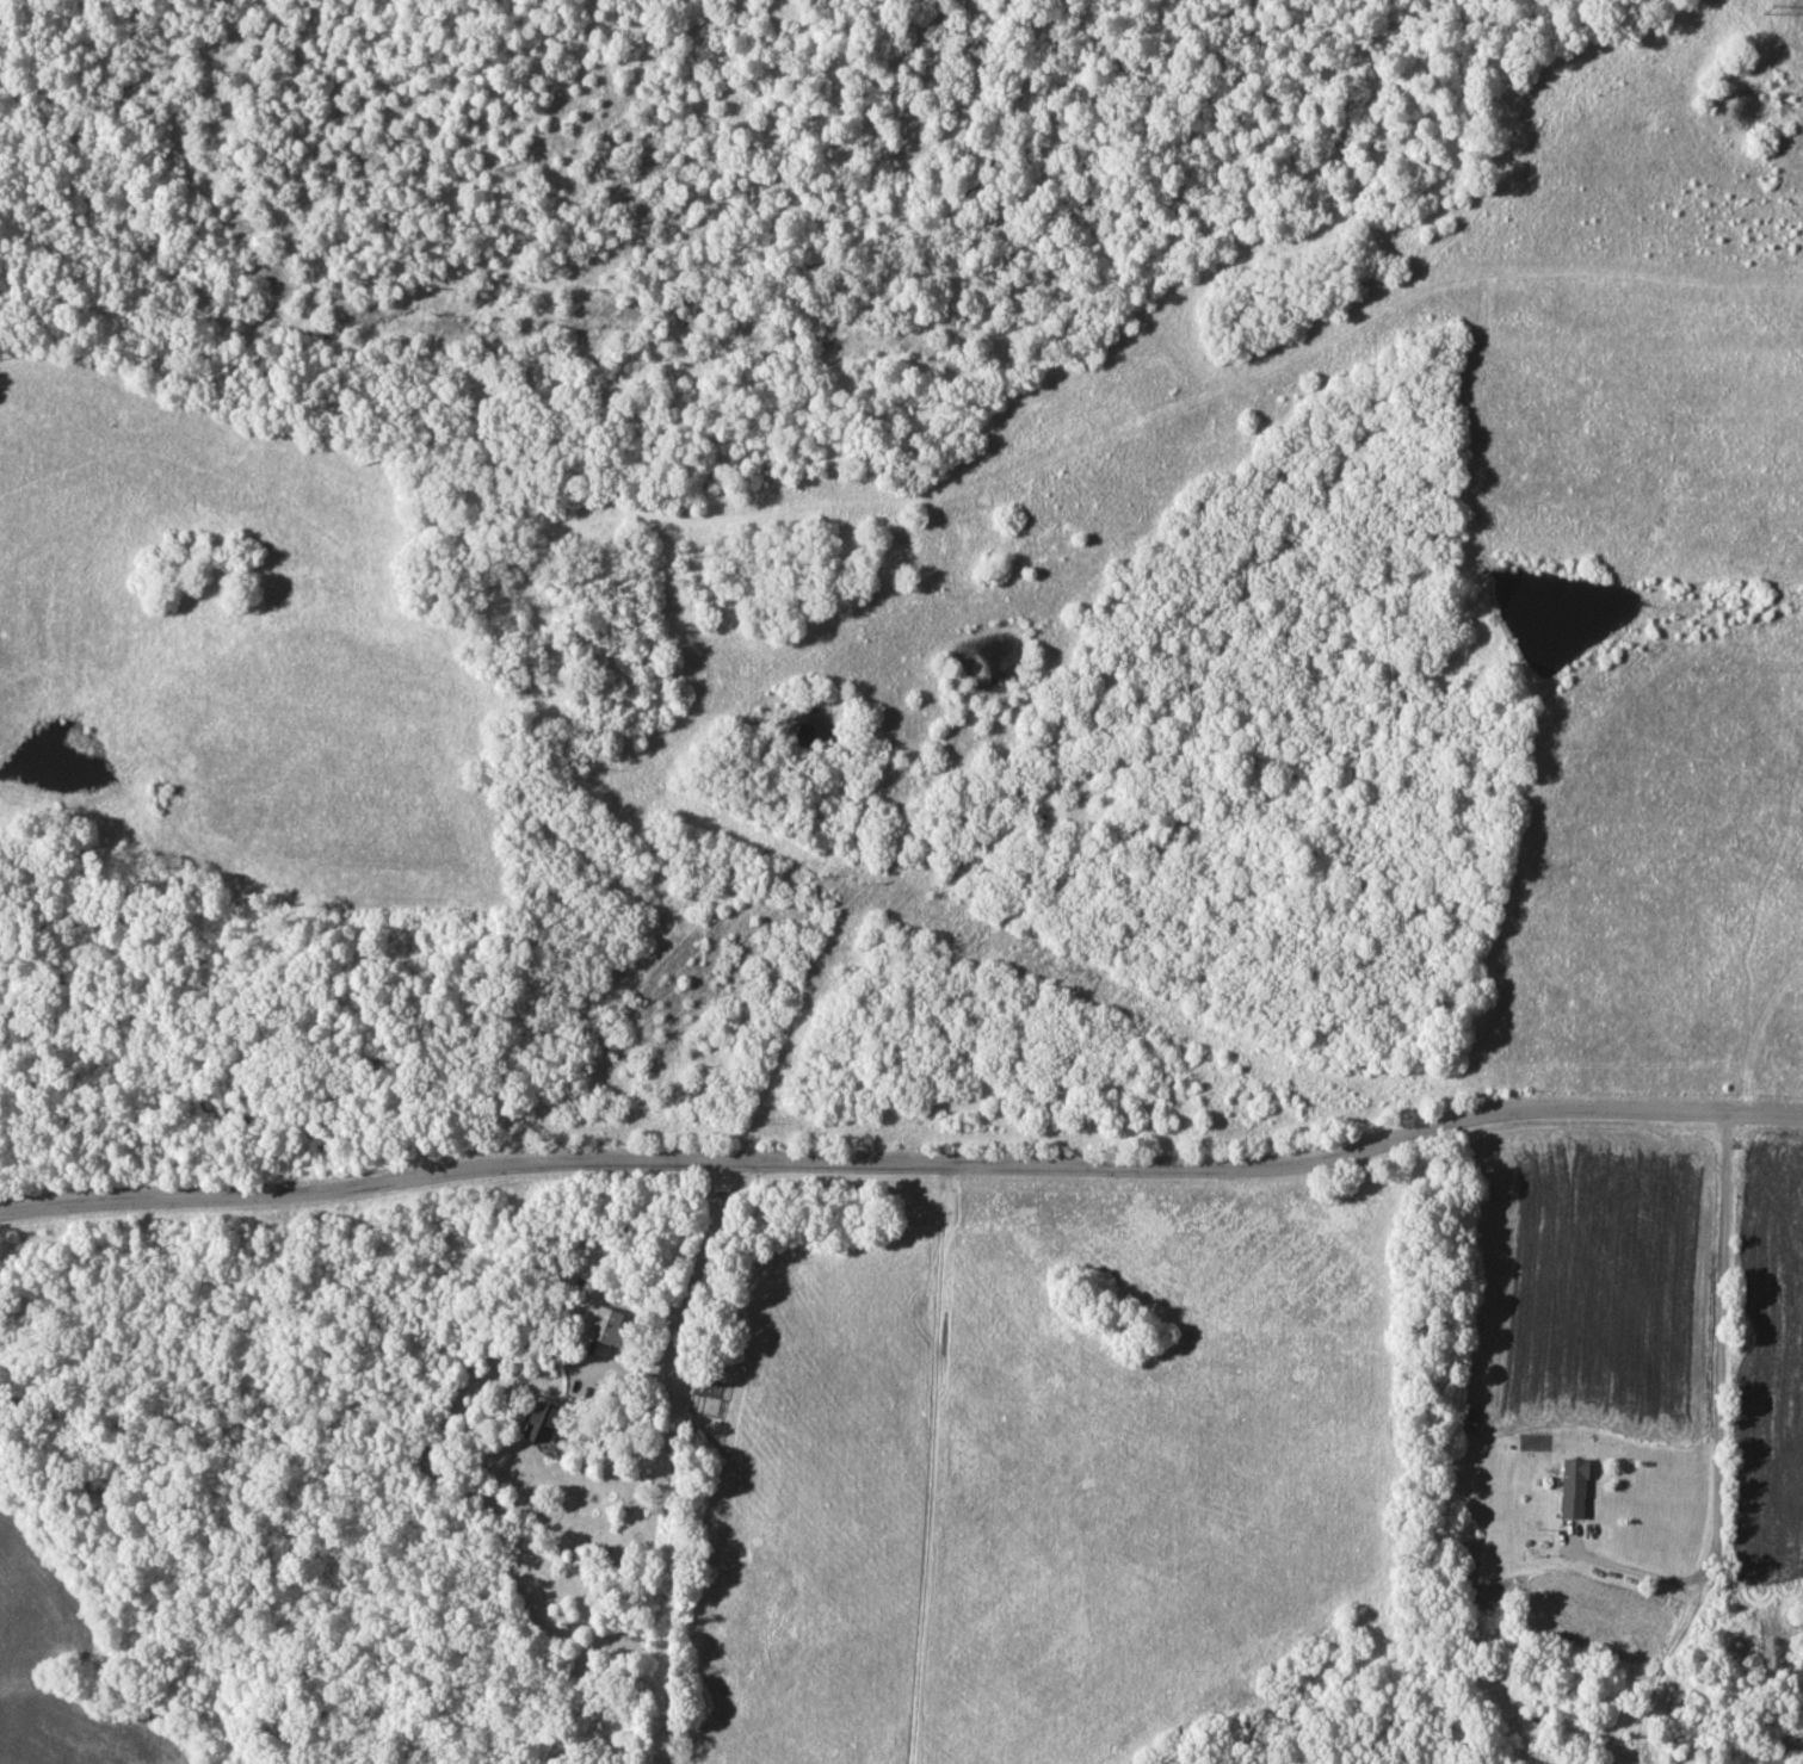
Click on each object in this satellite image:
power tower: (1766, 7)
road: (902, 1166)
road: (709, 1192)
road: (686, 1301)
road: (1716, 1410)
building: (547, 1424)
building: (1577, 1490)

